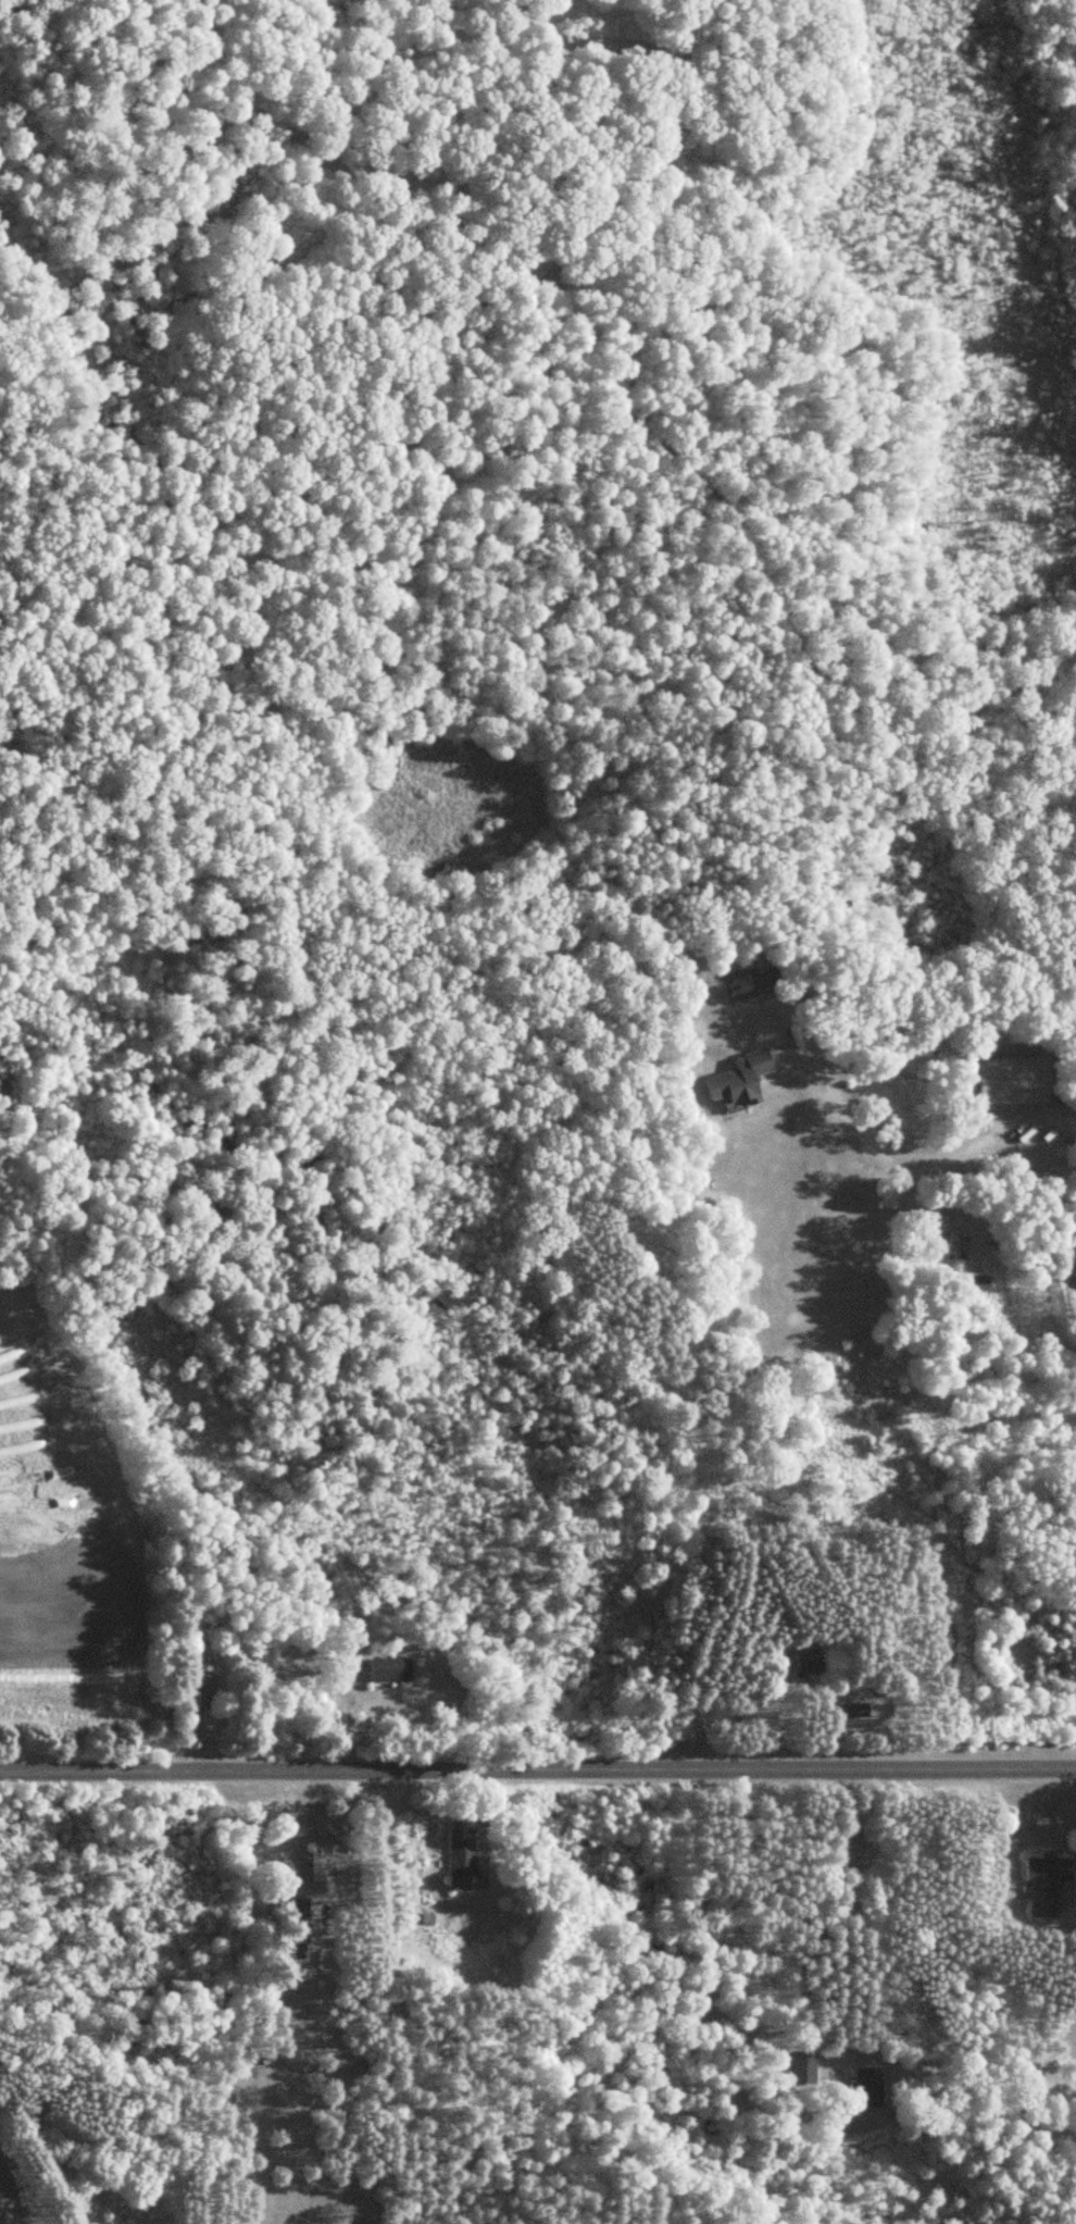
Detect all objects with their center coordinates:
building: (746, 1078)
building: (1016, 1080)
building: (812, 1661)
building: (393, 1668)
building: (204, 1680)
building: (860, 1710)
road: (538, 1767)
building: (463, 1854)
building: (330, 1859)
building: (1049, 1883)
road: (850, 1910)
building: (317, 1924)
building: (805, 2066)
building: (869, 2086)
road: (15, 2191)

